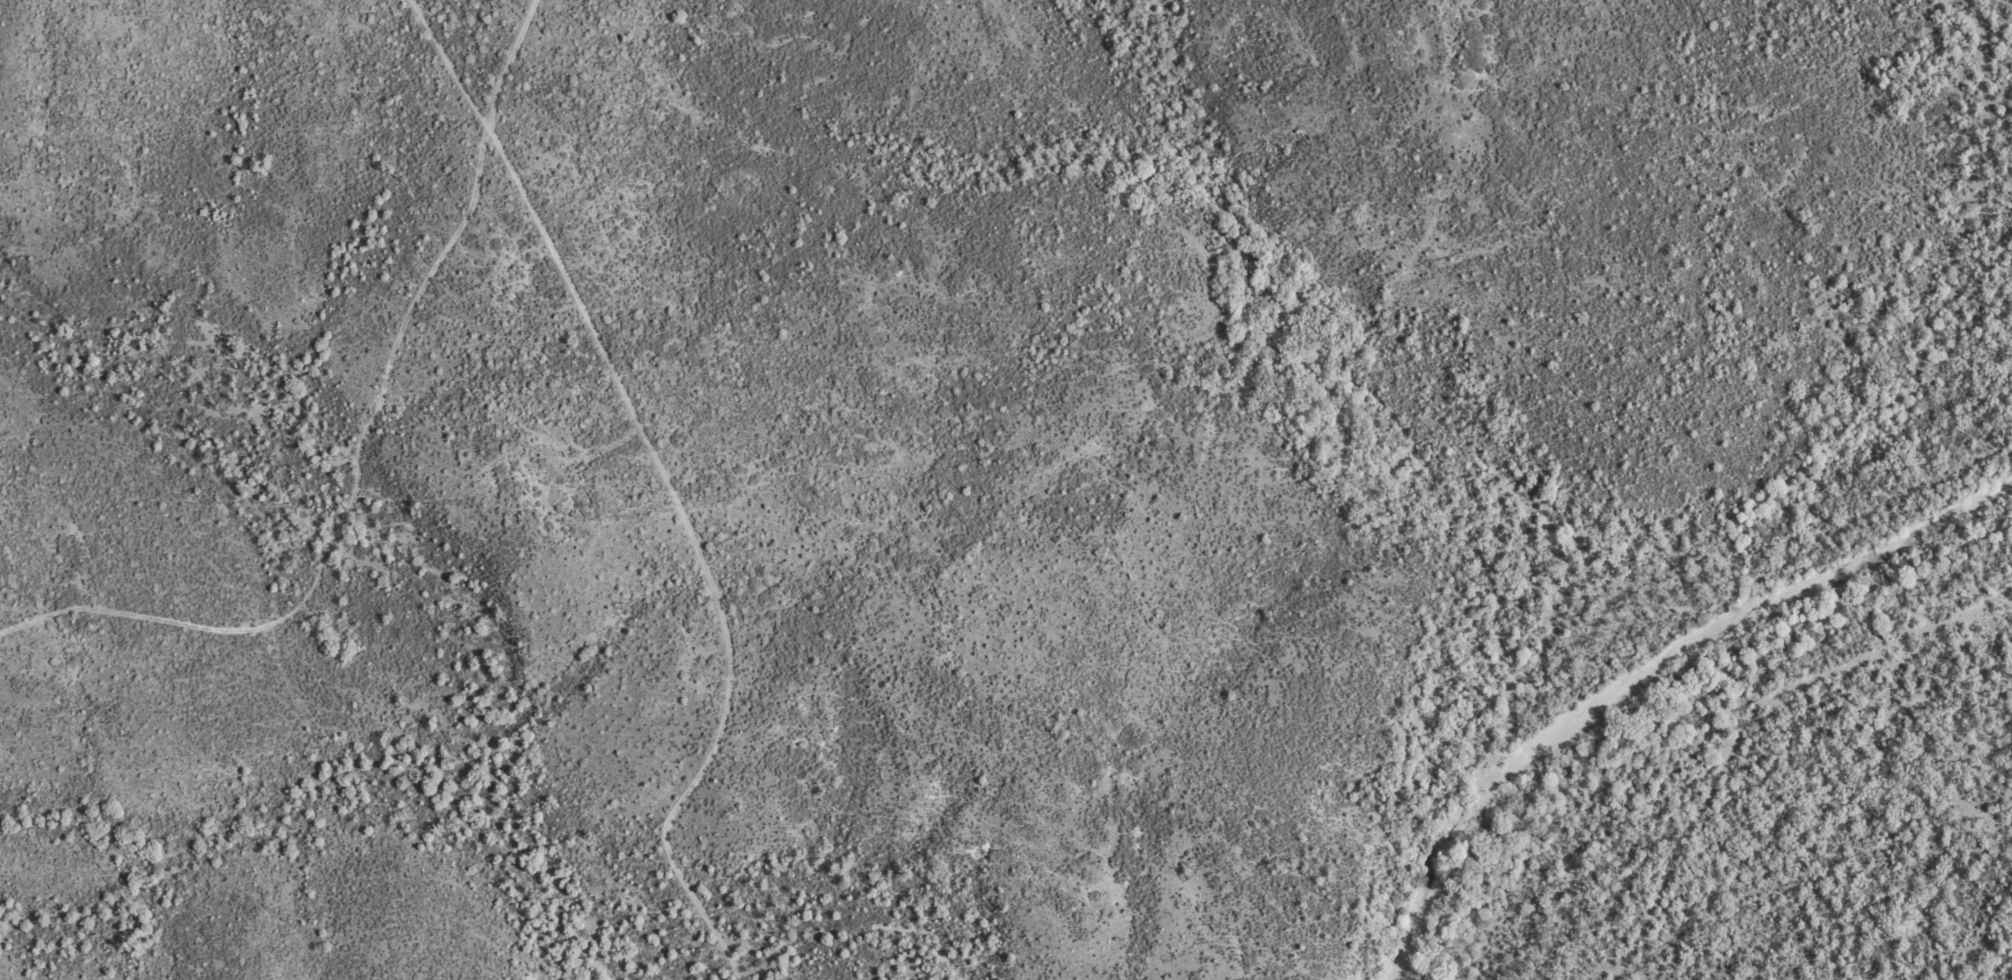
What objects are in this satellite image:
road: (365, 450)

